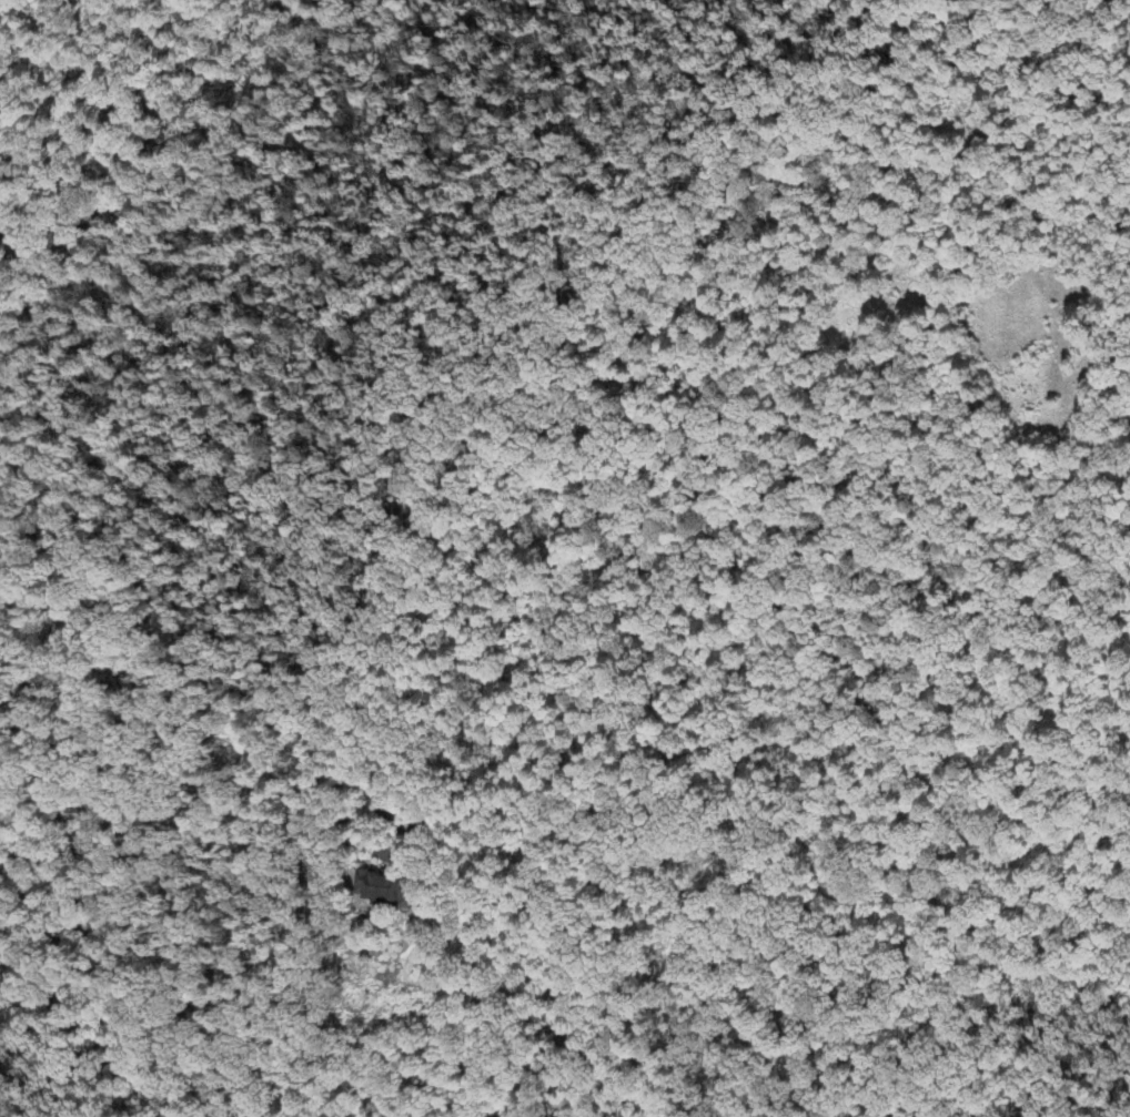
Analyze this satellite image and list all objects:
building: (390, 891)

